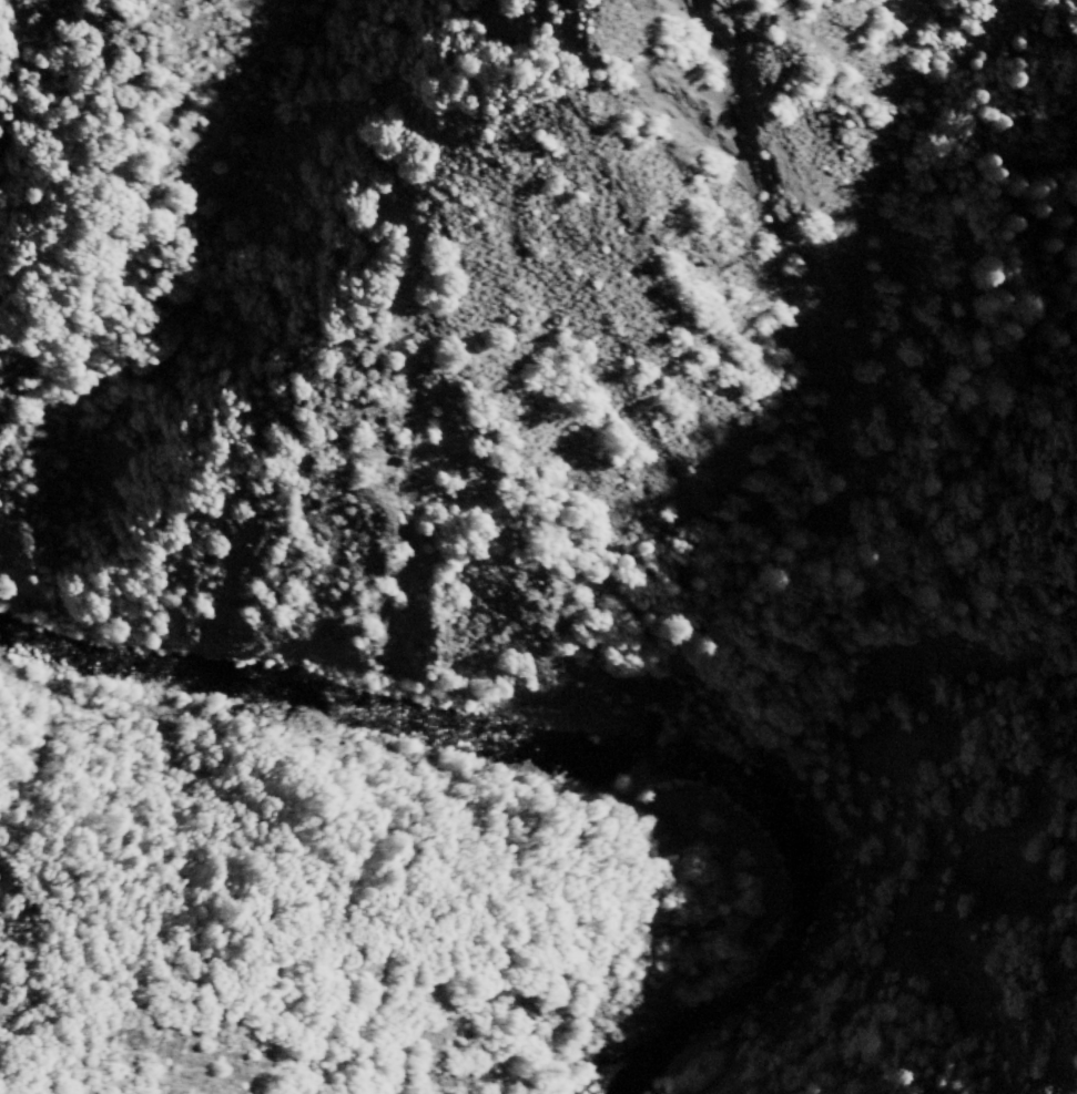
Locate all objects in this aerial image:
river: (45, 642)
river: (628, 764)

